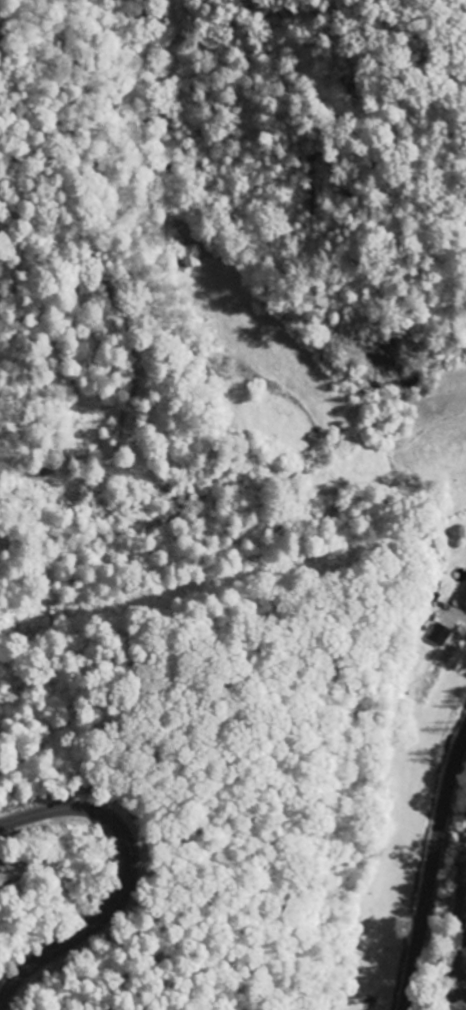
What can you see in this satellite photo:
building: (464, 599)
building: (436, 635)
road: (130, 867)
road: (427, 868)

